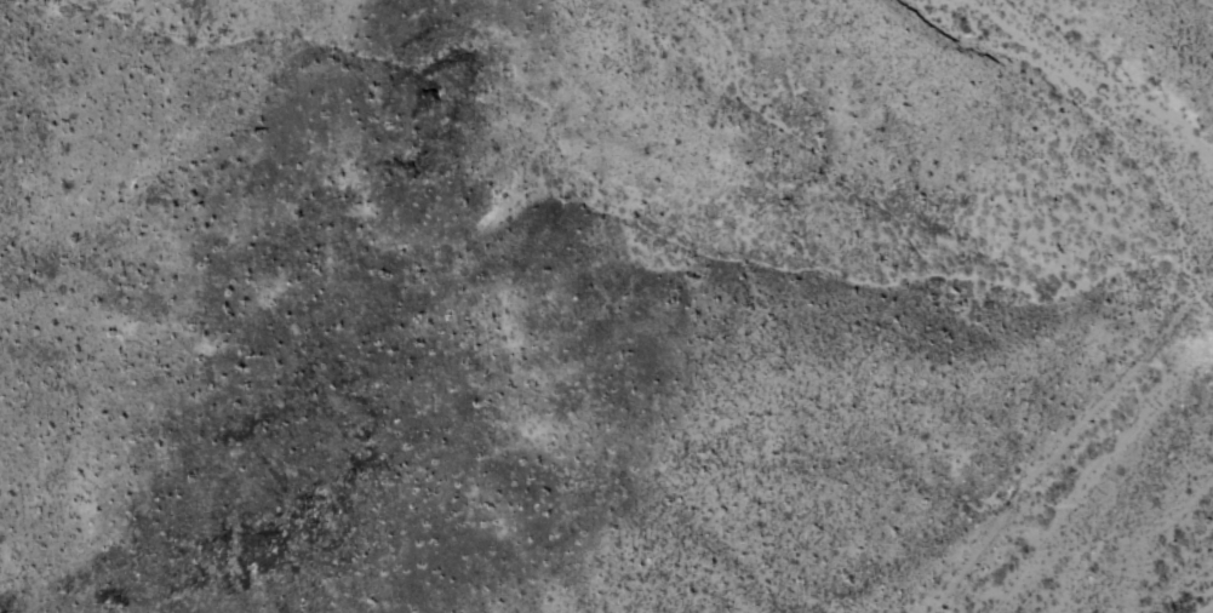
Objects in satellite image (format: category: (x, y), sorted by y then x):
road: (1072, 462)

